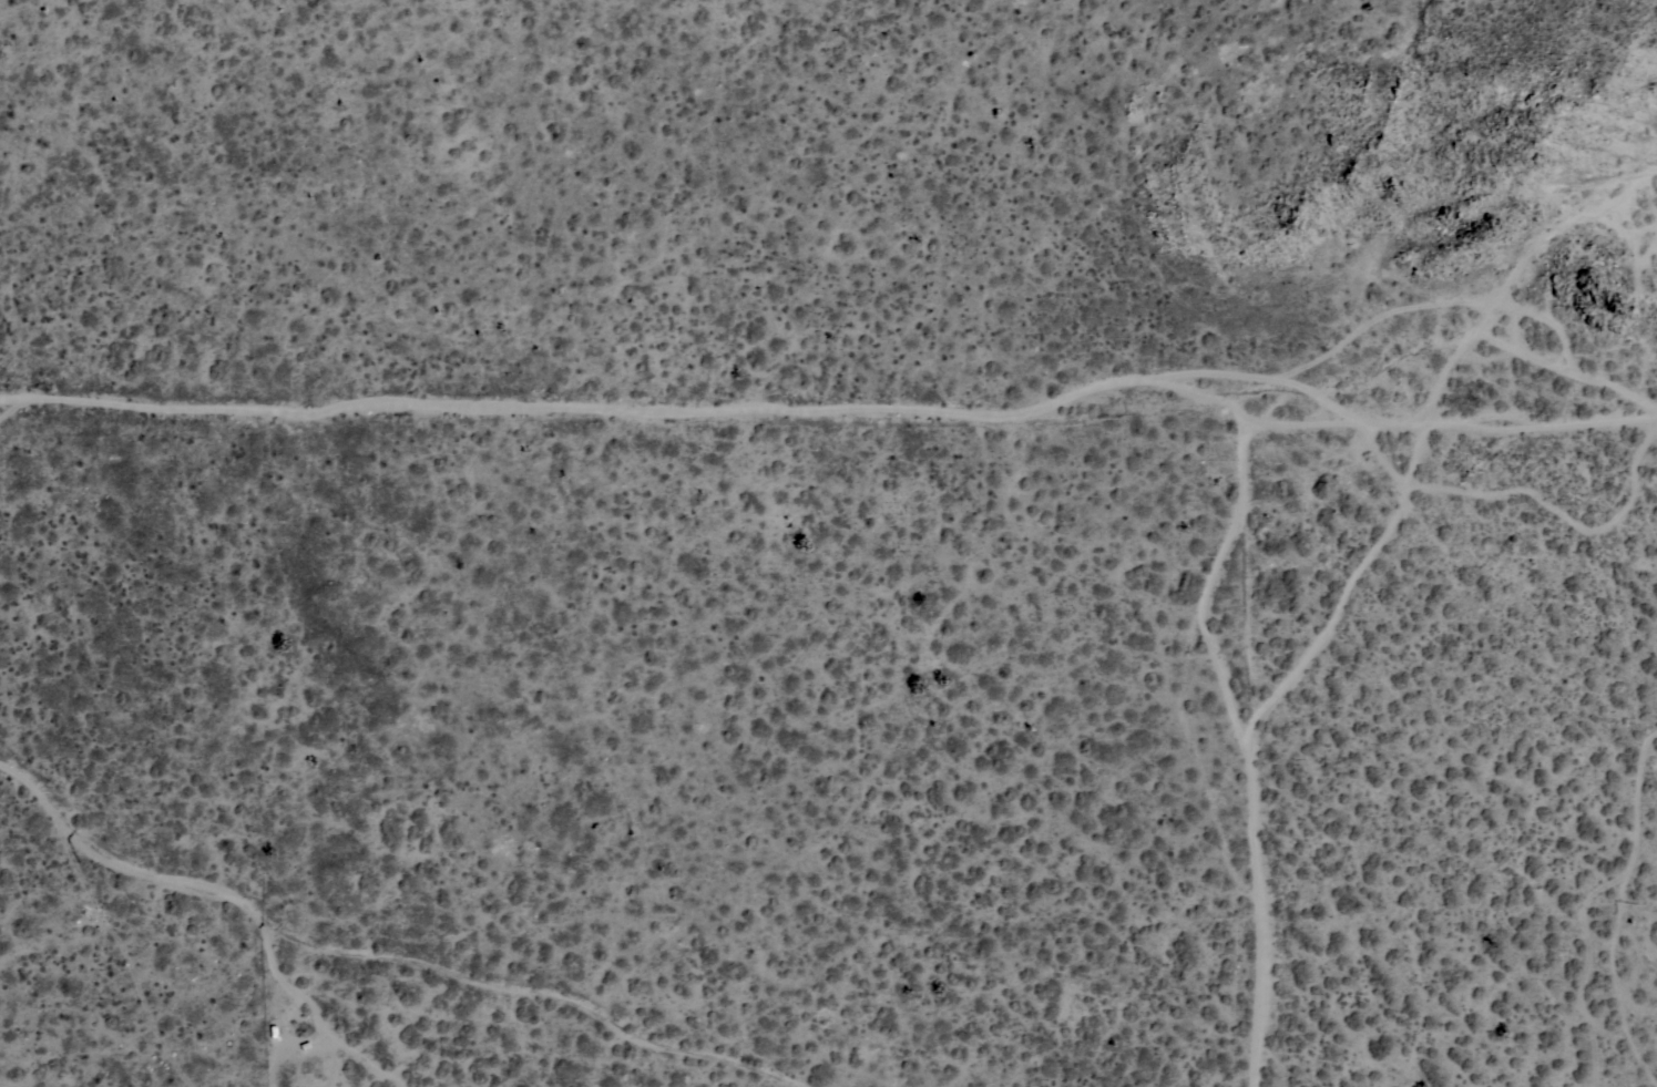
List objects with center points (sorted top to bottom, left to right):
road: (436, 401)
road: (1255, 422)
road: (1428, 432)
road: (1250, 749)
road: (391, 955)

